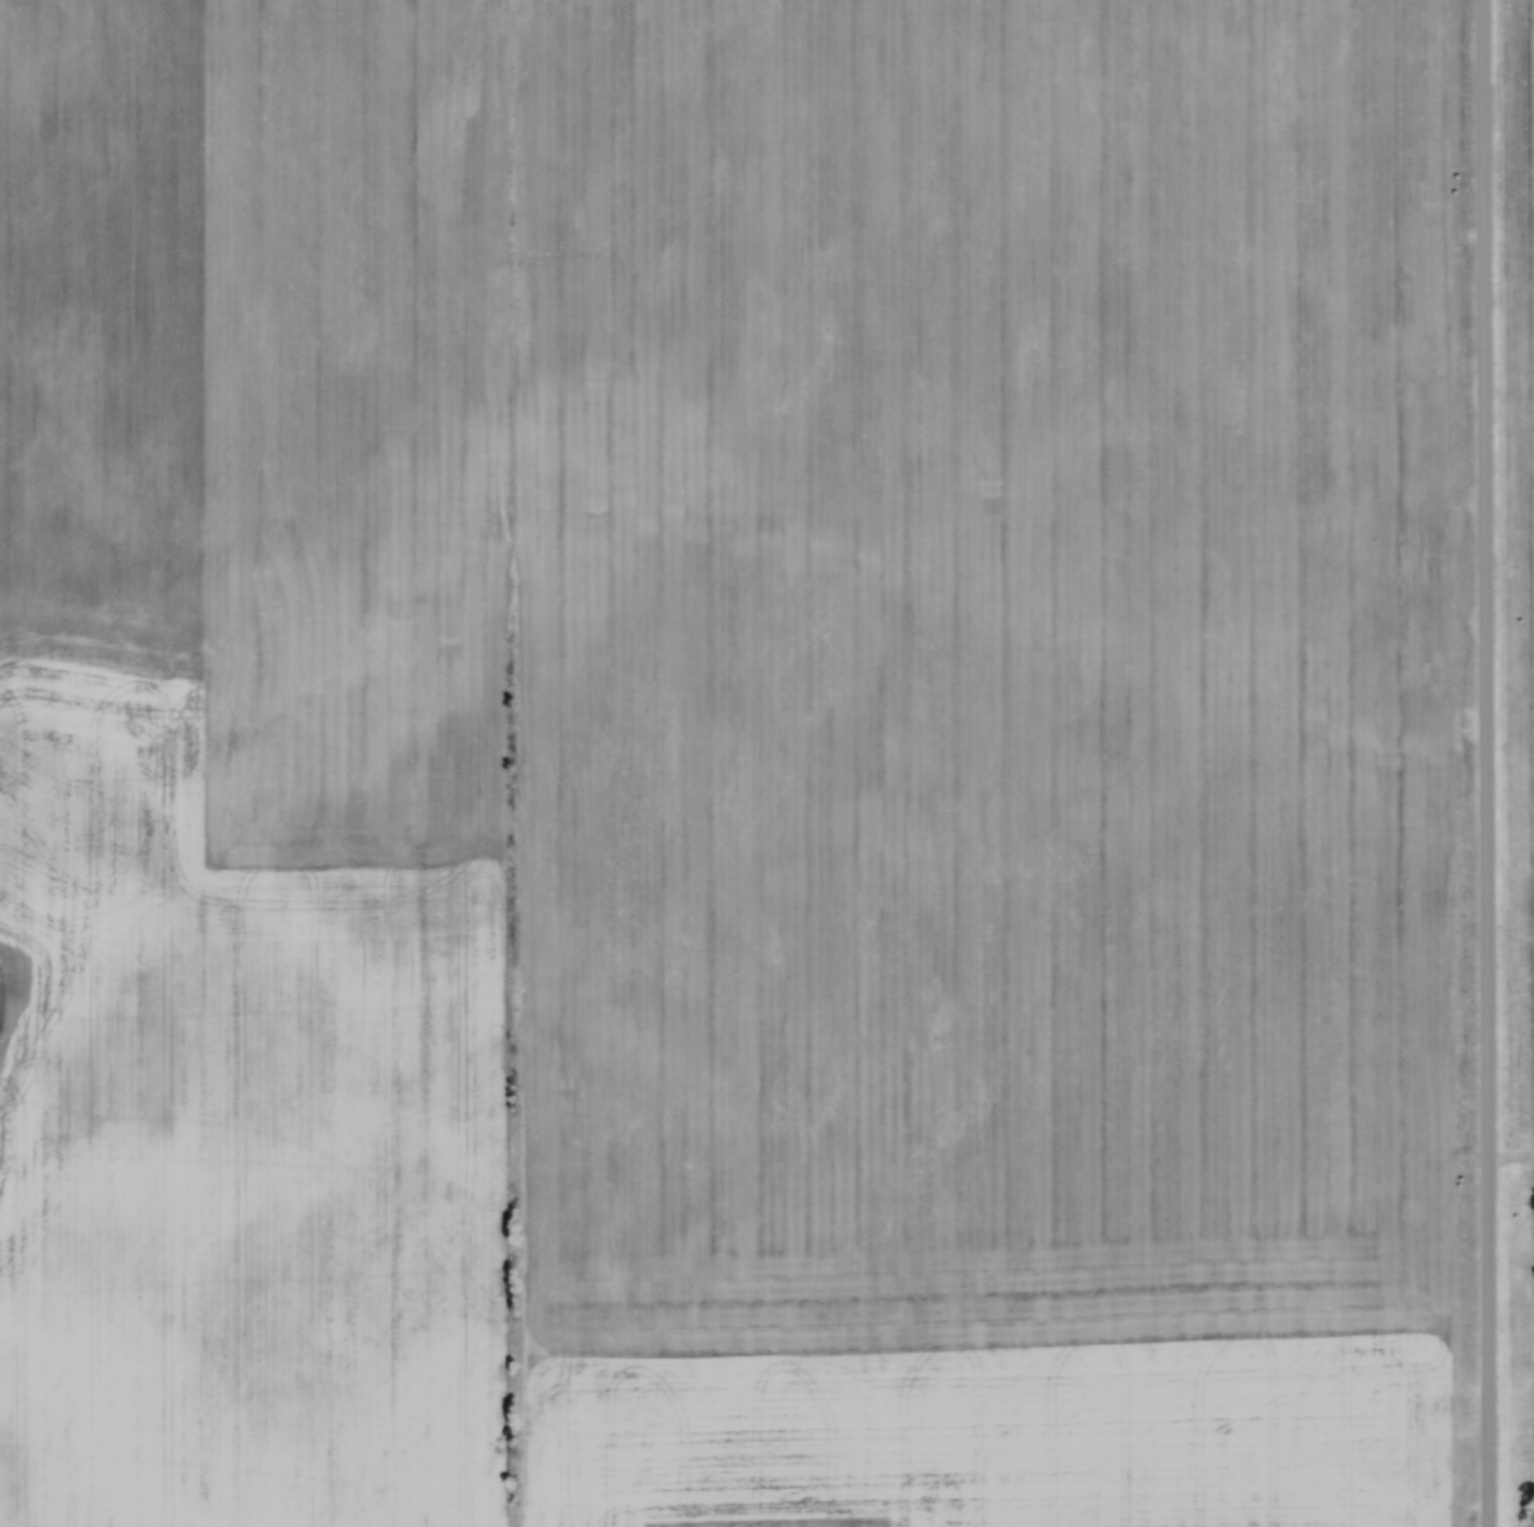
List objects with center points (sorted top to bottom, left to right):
road: (1495, 763)

